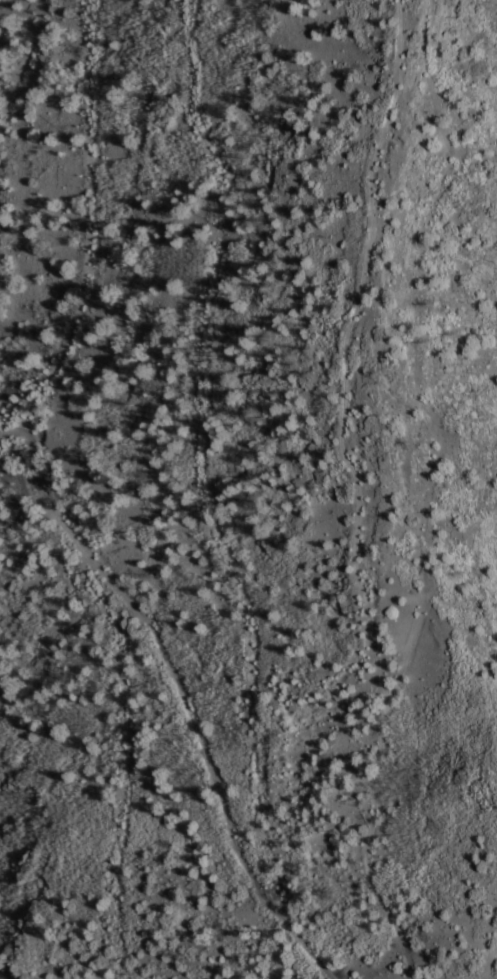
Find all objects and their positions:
road: (368, 488)
road: (187, 692)

